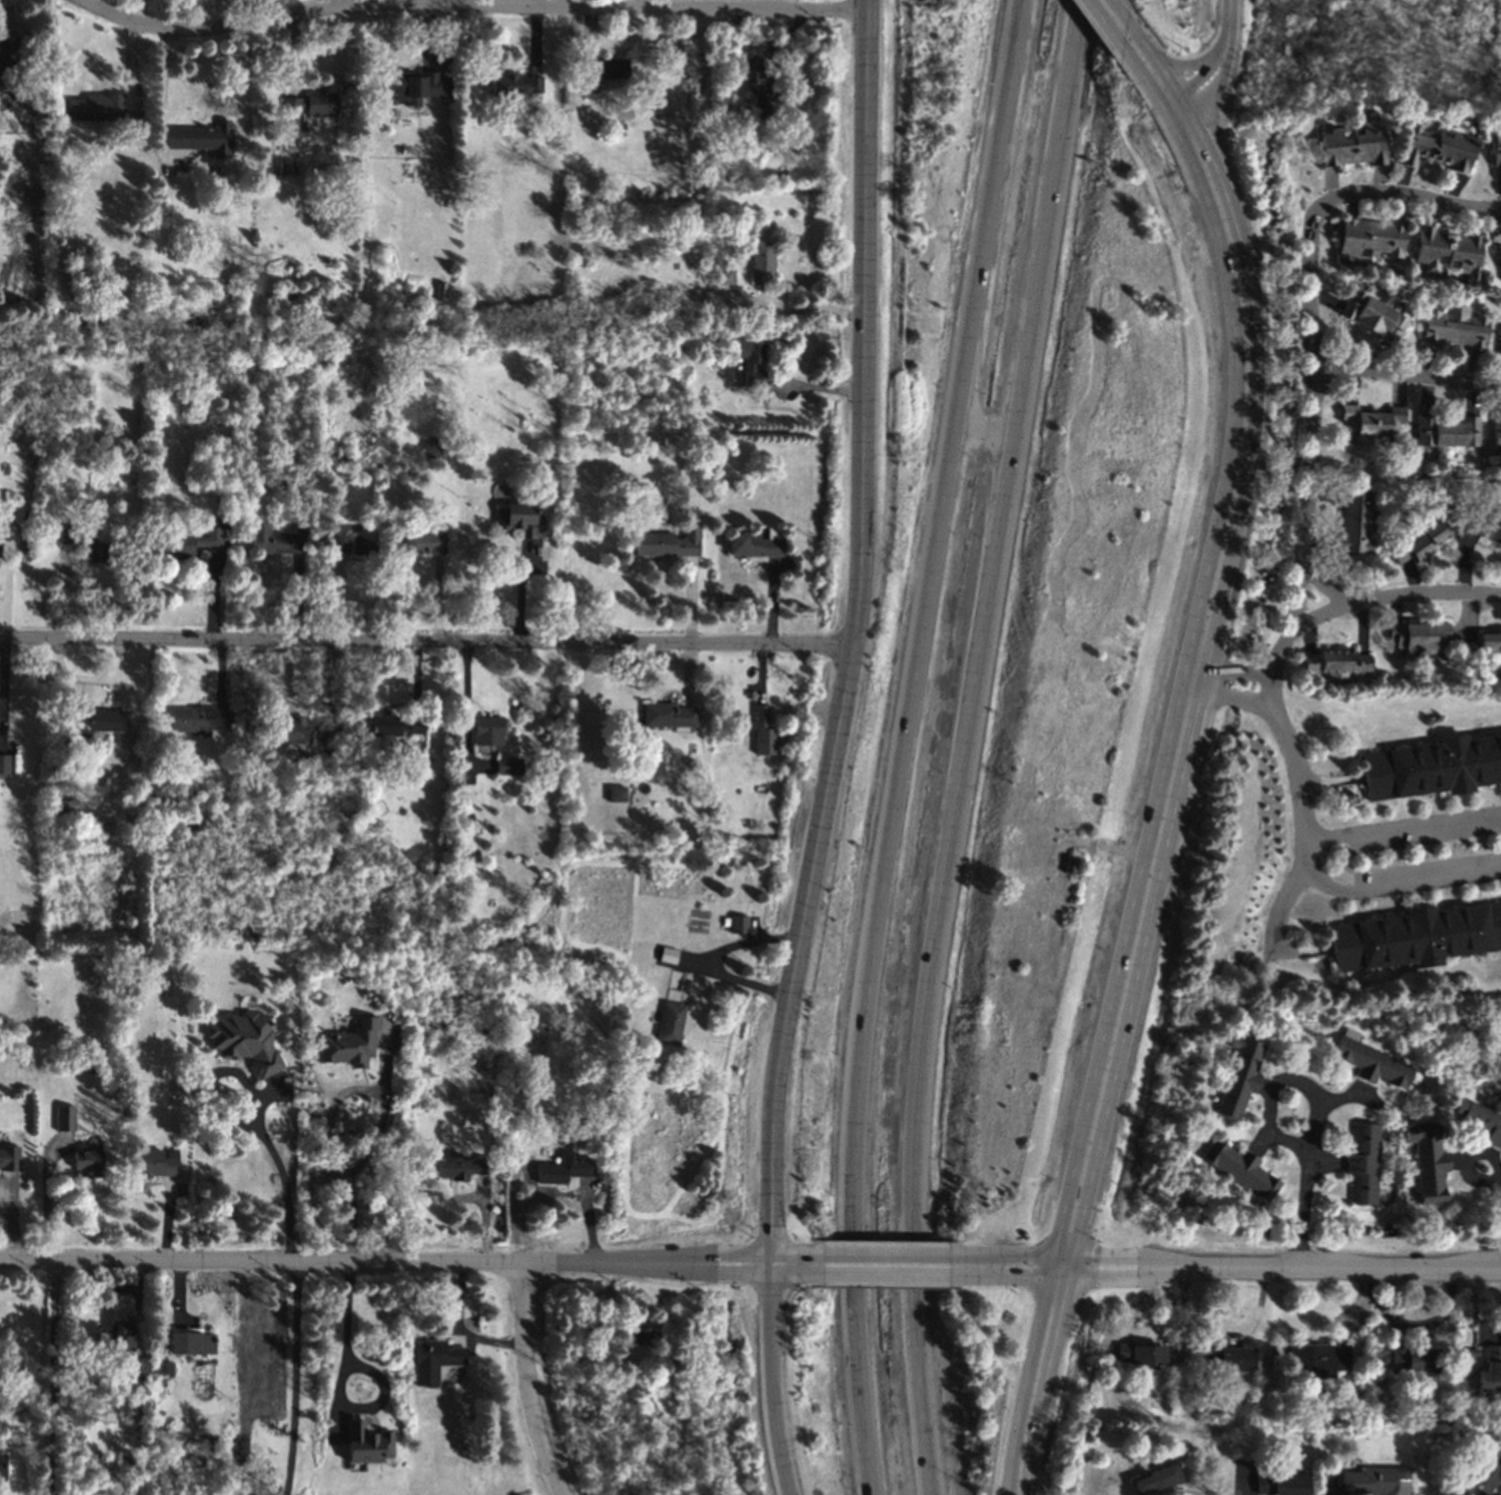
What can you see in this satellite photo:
road: (457, 3)
road: (468, 6)
road: (1115, 20)
road: (1216, 62)
building: (7, 63)
road: (1184, 63)
building: (604, 67)
road: (1154, 77)
building: (514, 84)
building: (416, 85)
building: (761, 90)
road: (162, 92)
building: (320, 103)
building: (94, 106)
building: (292, 114)
building: (201, 137)
building: (1351, 142)
building: (1435, 148)
building: (1494, 154)
road: (1405, 195)
building: (1369, 237)
building: (1447, 250)
building: (1498, 251)
building: (761, 261)
building: (724, 274)
road: (1307, 279)
road: (809, 312)
building: (1453, 328)
building: (1498, 341)
building: (748, 356)
road: (1403, 372)
building: (1370, 420)
building: (1446, 431)
road: (975, 433)
building: (1495, 434)
building: (431, 448)
building: (519, 519)
building: (1353, 520)
road: (1294, 523)
building: (1493, 525)
building: (68, 534)
building: (276, 538)
building: (193, 540)
building: (354, 542)
building: (423, 542)
building: (668, 542)
building: (1420, 542)
building: (755, 543)
building: (92, 552)
road: (927, 564)
road: (982, 566)
road: (1384, 595)
road: (859, 634)
building: (1418, 636)
road: (429, 643)
building: (1488, 643)
building: (1335, 663)
road: (1234, 670)
road: (1191, 687)
road: (1230, 698)
building: (667, 715)
building: (198, 718)
building: (97, 720)
building: (395, 724)
building: (288, 730)
building: (486, 732)
building: (762, 732)
building: (4, 763)
building: (507, 765)
building: (1432, 766)
road: (1295, 773)
building: (615, 793)
road: (1310, 863)
building: (1068, 864)
road: (1282, 914)
building: (737, 923)
building: (1414, 936)
building: (667, 954)
road: (687, 958)
building: (668, 1022)
building: (244, 1040)
building: (349, 1043)
building: (1367, 1060)
building: (1237, 1076)
road: (255, 1106)
road: (1314, 1113)
road: (382, 1116)
building: (64, 1117)
building: (1478, 1121)
building: (8, 1157)
building: (1426, 1160)
building: (87, 1161)
building: (154, 1162)
building: (1362, 1163)
building: (458, 1166)
building: (563, 1168)
building: (1237, 1168)
road: (1490, 1175)
road: (1093, 1256)
road: (1023, 1257)
road: (404, 1261)
road: (838, 1261)
road: (914, 1262)
road: (974, 1263)
road: (1312, 1267)
road: (1021, 1274)
road: (1091, 1275)
road: (1368, 1278)
road: (842, 1312)
road: (1349, 1313)
road: (924, 1315)
road: (1183, 1316)
road: (1145, 1320)
road: (1422, 1325)
road: (1492, 1326)
building: (570, 1327)
building: (640, 1330)
road: (1245, 1331)
road: (1400, 1332)
road: (1495, 1334)
building: (116, 1336)
road: (1237, 1339)
building: (189, 1341)
building: (1474, 1350)
building: (621, 1352)
building: (1140, 1353)
road: (1192, 1354)
building: (1228, 1357)
building: (1320, 1358)
building: (1412, 1360)
building: (434, 1361)
building: (138, 1367)
building: (167, 1370)
road: (370, 1372)
building: (1491, 1373)
road: (53, 1376)
road: (293, 1377)
road: (1034, 1379)
road: (523, 1382)
building: (625, 1384)
road: (1054, 1386)
building: (618, 1400)
building: (646, 1425)
building: (366, 1442)
building: (2, 1465)
building: (1482, 1476)
building: (1157, 1478)
road: (1240, 1479)
building: (1375, 1481)
building: (1281, 1482)
road: (1326, 1487)
road: (1121, 1491)
road: (1497, 1491)

